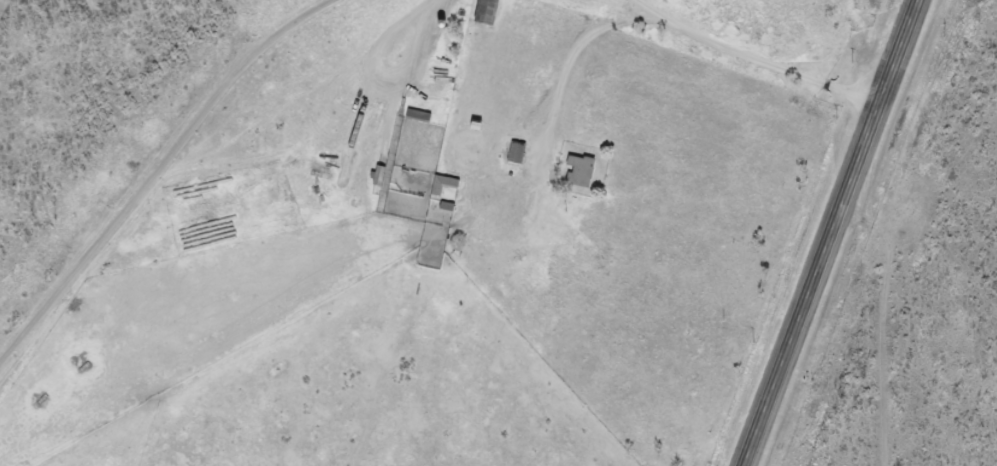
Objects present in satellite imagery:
building: (483, 11)
road: (693, 55)
building: (415, 114)
building: (513, 151)
building: (575, 168)
building: (375, 174)
building: (442, 182)
road: (180, 192)
building: (438, 205)
road: (830, 233)

